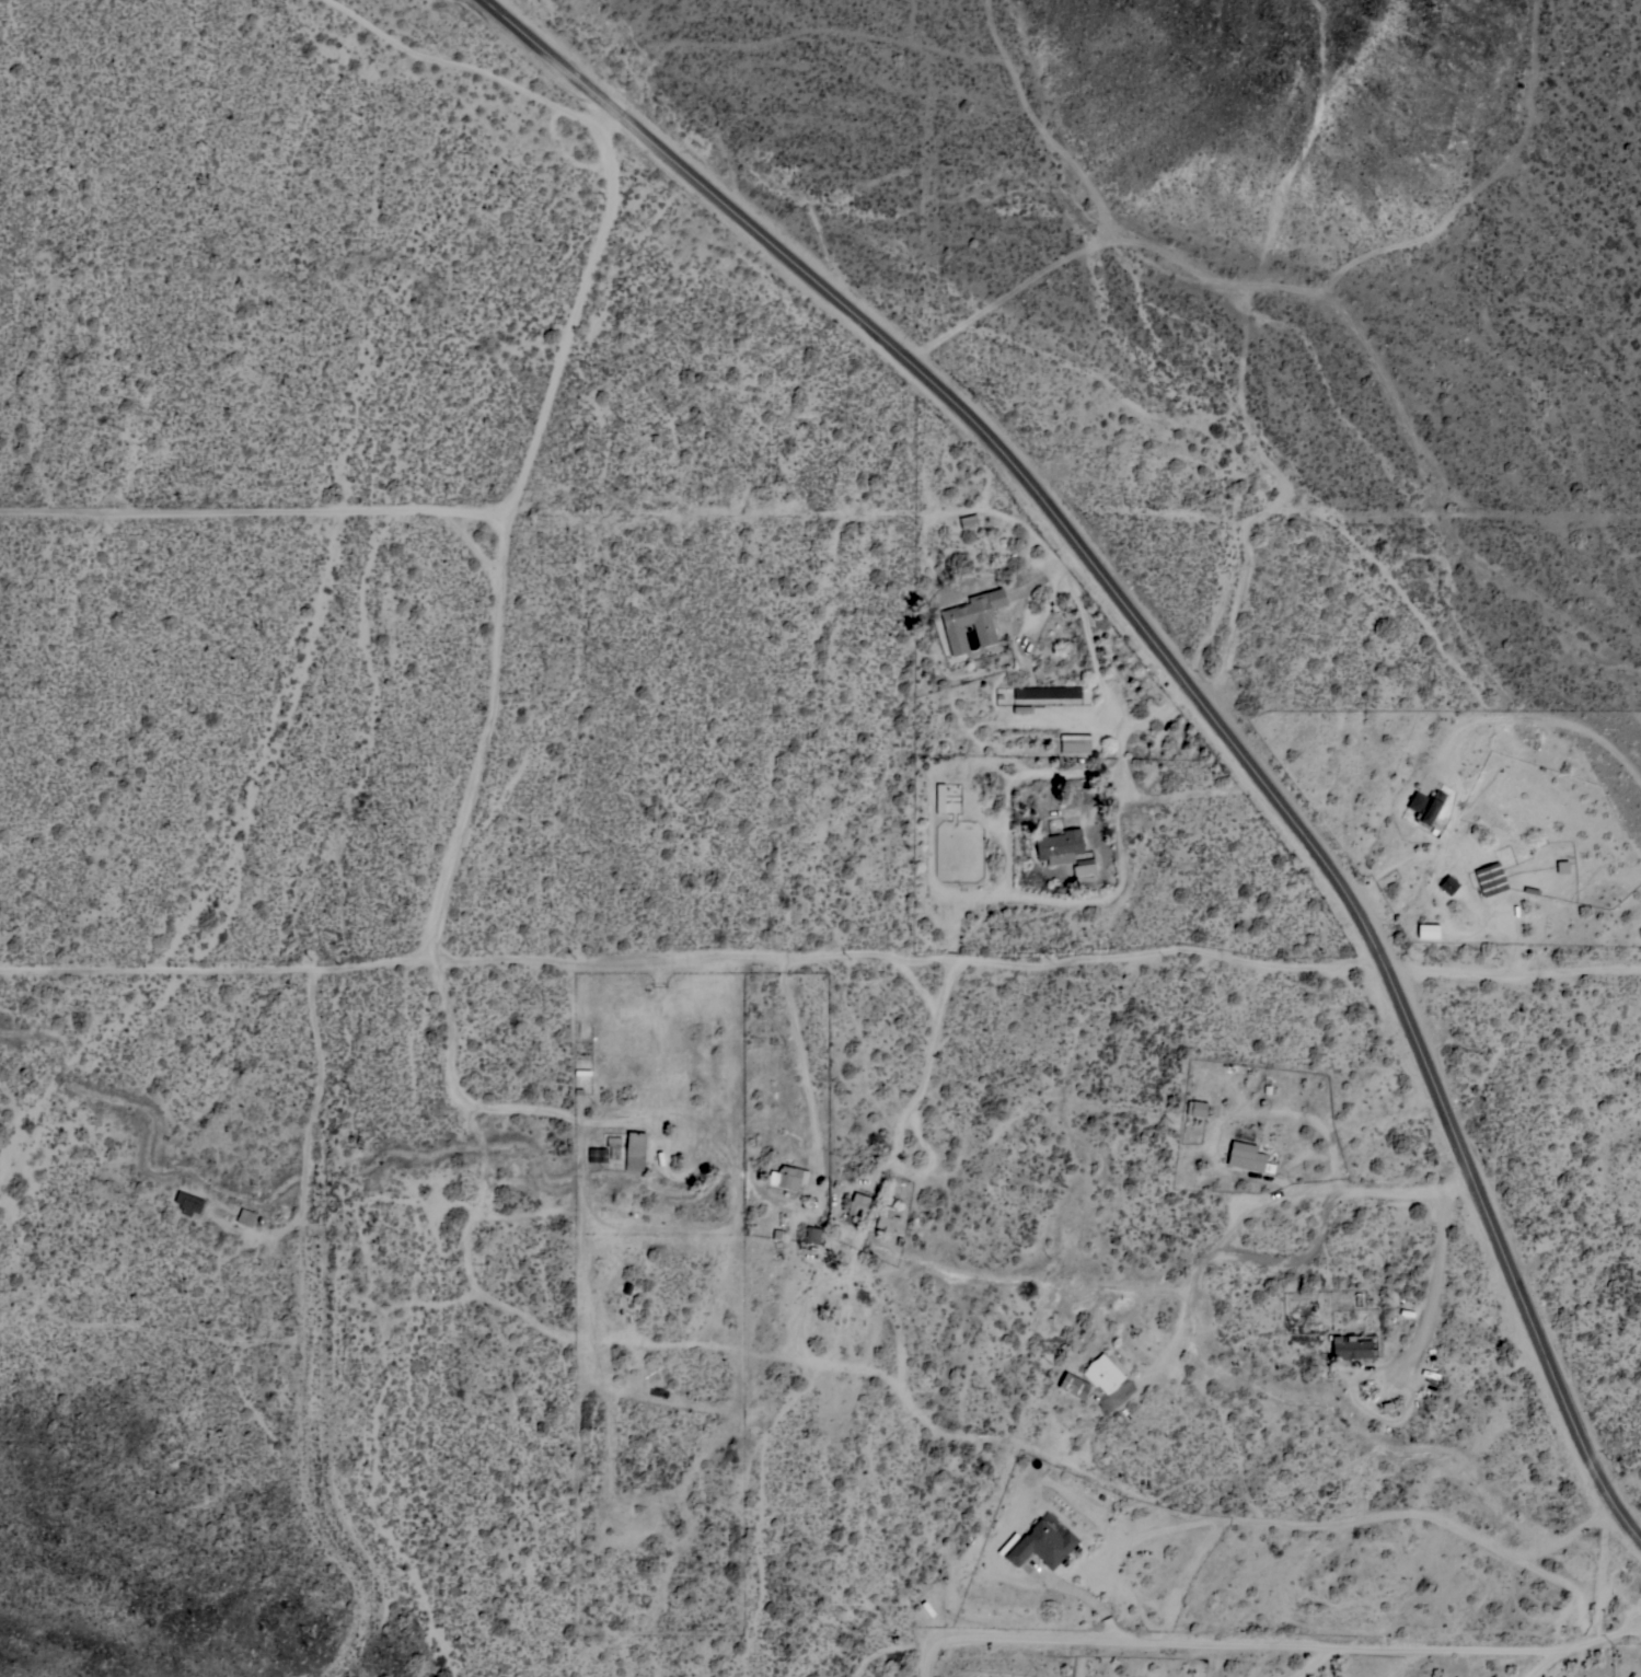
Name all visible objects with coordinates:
road: (463, 66)
road: (586, 313)
road: (543, 514)
building: (968, 521)
building: (972, 620)
road: (1186, 676)
building: (1047, 692)
road: (1540, 714)
road: (1068, 717)
building: (1074, 743)
road: (1035, 773)
road: (1124, 785)
building: (939, 797)
building: (1425, 806)
building: (1060, 846)
building: (1084, 866)
building: (1490, 878)
building: (1448, 883)
building: (1428, 930)
road: (694, 957)
road: (1516, 971)
road: (917, 983)
road: (929, 1063)
road: (808, 1085)
road: (484, 1107)
building: (1197, 1108)
road: (310, 1133)
building: (613, 1146)
building: (635, 1150)
building: (597, 1154)
building: (1247, 1157)
building: (787, 1177)
building: (188, 1202)
building: (857, 1206)
building: (887, 1215)
building: (246, 1217)
building: (812, 1235)
road: (1295, 1258)
road: (1432, 1288)
building: (1352, 1348)
building: (1103, 1373)
building: (1073, 1385)
building: (1043, 1541)
road: (1298, 1636)
road: (1321, 1658)
road: (1551, 1659)

